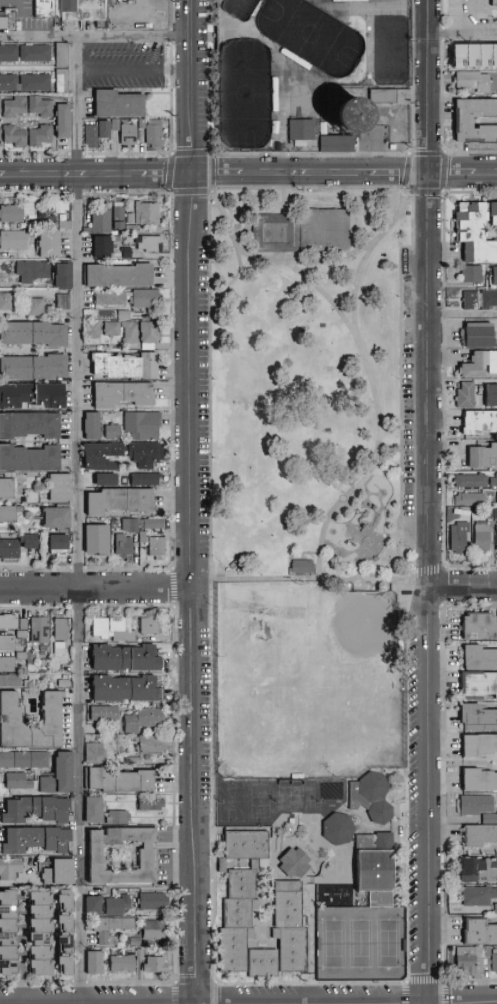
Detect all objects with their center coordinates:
building: (350, 1)
building: (381, 1)
building: (394, 1)
building: (492, 1)
building: (494, 3)
building: (46, 8)
park: (238, 8)
building: (85, 10)
building: (122, 12)
building: (148, 12)
road: (470, 17)
building: (343, 18)
building: (4, 21)
building: (138, 28)
road: (39, 35)
park: (309, 35)
road: (463, 35)
building: (10, 54)
building: (37, 54)
building: (64, 56)
building: (475, 57)
building: (296, 59)
road: (137, 67)
building: (276, 70)
building: (318, 74)
building: (473, 81)
building: (63, 82)
building: (26, 83)
building: (298, 93)
building: (310, 93)
park: (244, 94)
building: (275, 94)
building: (391, 97)
building: (120, 105)
building: (1, 106)
building: (16, 107)
building: (42, 107)
water tower: (346, 114)
building: (349, 117)
building: (476, 121)
building: (65, 122)
building: (143, 124)
building: (117, 126)
building: (276, 126)
building: (325, 129)
building: (301, 130)
building: (98, 134)
building: (156, 134)
building: (130, 135)
building: (16, 136)
building: (42, 136)
building: (1, 139)
building: (331, 143)
building: (301, 144)
road: (248, 176)
road: (282, 200)
building: (62, 206)
building: (16, 212)
building: (148, 213)
building: (119, 217)
building: (132, 219)
building: (101, 221)
building: (66, 225)
building: (133, 229)
building: (299, 231)
building: (477, 233)
building: (14, 240)
building: (50, 243)
building: (150, 243)
building: (103, 246)
building: (128, 253)
road: (279, 256)
road: (302, 260)
building: (33, 271)
building: (63, 274)
building: (120, 275)
building: (473, 275)
road: (233, 278)
building: (494, 278)
building: (131, 299)
building: (7, 301)
building: (64, 301)
building: (472, 301)
building: (490, 301)
building: (36, 307)
building: (126, 315)
building: (114, 328)
building: (94, 330)
road: (352, 331)
building: (34, 333)
building: (152, 334)
building: (131, 336)
building: (481, 337)
building: (126, 365)
building: (34, 366)
building: (480, 366)
park: (305, 381)
parking lot: (202, 382)
building: (124, 394)
building: (32, 395)
building: (467, 396)
building: (492, 397)
parking lot: (407, 408)
building: (29, 424)
building: (480, 424)
building: (93, 425)
building: (144, 425)
building: (114, 431)
building: (147, 454)
building: (102, 455)
building: (30, 458)
building: (484, 458)
road: (80, 461)
building: (106, 479)
building: (146, 479)
road: (368, 480)
building: (473, 482)
building: (494, 483)
building: (61, 487)
building: (7, 489)
building: (121, 500)
building: (471, 500)
road: (430, 501)
road: (189, 502)
road: (335, 504)
building: (10, 514)
building: (491, 514)
building: (58, 518)
building: (154, 523)
building: (132, 525)
road: (326, 529)
road: (394, 534)
building: (460, 538)
building: (483, 538)
building: (495, 538)
building: (99, 539)
building: (30, 541)
building: (60, 544)
building: (125, 546)
building: (155, 546)
building: (10, 549)
road: (289, 553)
building: (299, 565)
road: (427, 567)
road: (353, 572)
road: (369, 583)
road: (464, 586)
road: (94, 590)
building: (9, 622)
building: (24, 624)
building: (152, 626)
road: (211, 626)
building: (480, 626)
building: (62, 629)
building: (114, 630)
building: (41, 631)
building: (23, 635)
building: (8, 643)
building: (61, 650)
building: (28, 657)
building: (126, 658)
building: (480, 658)
building: (8, 665)
building: (11, 681)
building: (65, 684)
building: (478, 685)
building: (127, 689)
parking lot: (203, 711)
building: (106, 714)
building: (478, 718)
building: (11, 719)
building: (145, 720)
building: (152, 745)
building: (479, 746)
building: (96, 754)
building: (25, 760)
building: (136, 761)
building: (61, 776)
building: (479, 780)
building: (122, 781)
building: (19, 782)
parking lot: (412, 790)
building: (372, 797)
park: (231, 802)
park: (259, 802)
building: (147, 803)
building: (475, 805)
building: (37, 810)
building: (95, 810)
building: (119, 818)
building: (490, 819)
building: (339, 829)
building: (480, 836)
building: (36, 840)
building: (248, 847)
building: (147, 857)
building: (296, 864)
building: (255, 865)
building: (222, 866)
building: (11, 869)
building: (375, 871)
building: (478, 871)
building: (61, 873)
building: (479, 896)
building: (154, 902)
building: (95, 906)
building: (121, 907)
building: (495, 911)
building: (238, 921)
building: (291, 927)
building: (112, 929)
building: (155, 931)
building: (41, 933)
building: (66, 933)
building: (479, 933)
building: (8, 934)
building: (137, 942)
park: (360, 943)
road: (311, 952)
building: (488, 952)
building: (470, 961)
building: (495, 962)
building: (153, 963)
building: (97, 964)
building: (124, 964)
building: (264, 964)
parking lot: (264, 988)
parking lot: (357, 988)
road: (248, 1001)
road: (314, 1002)

